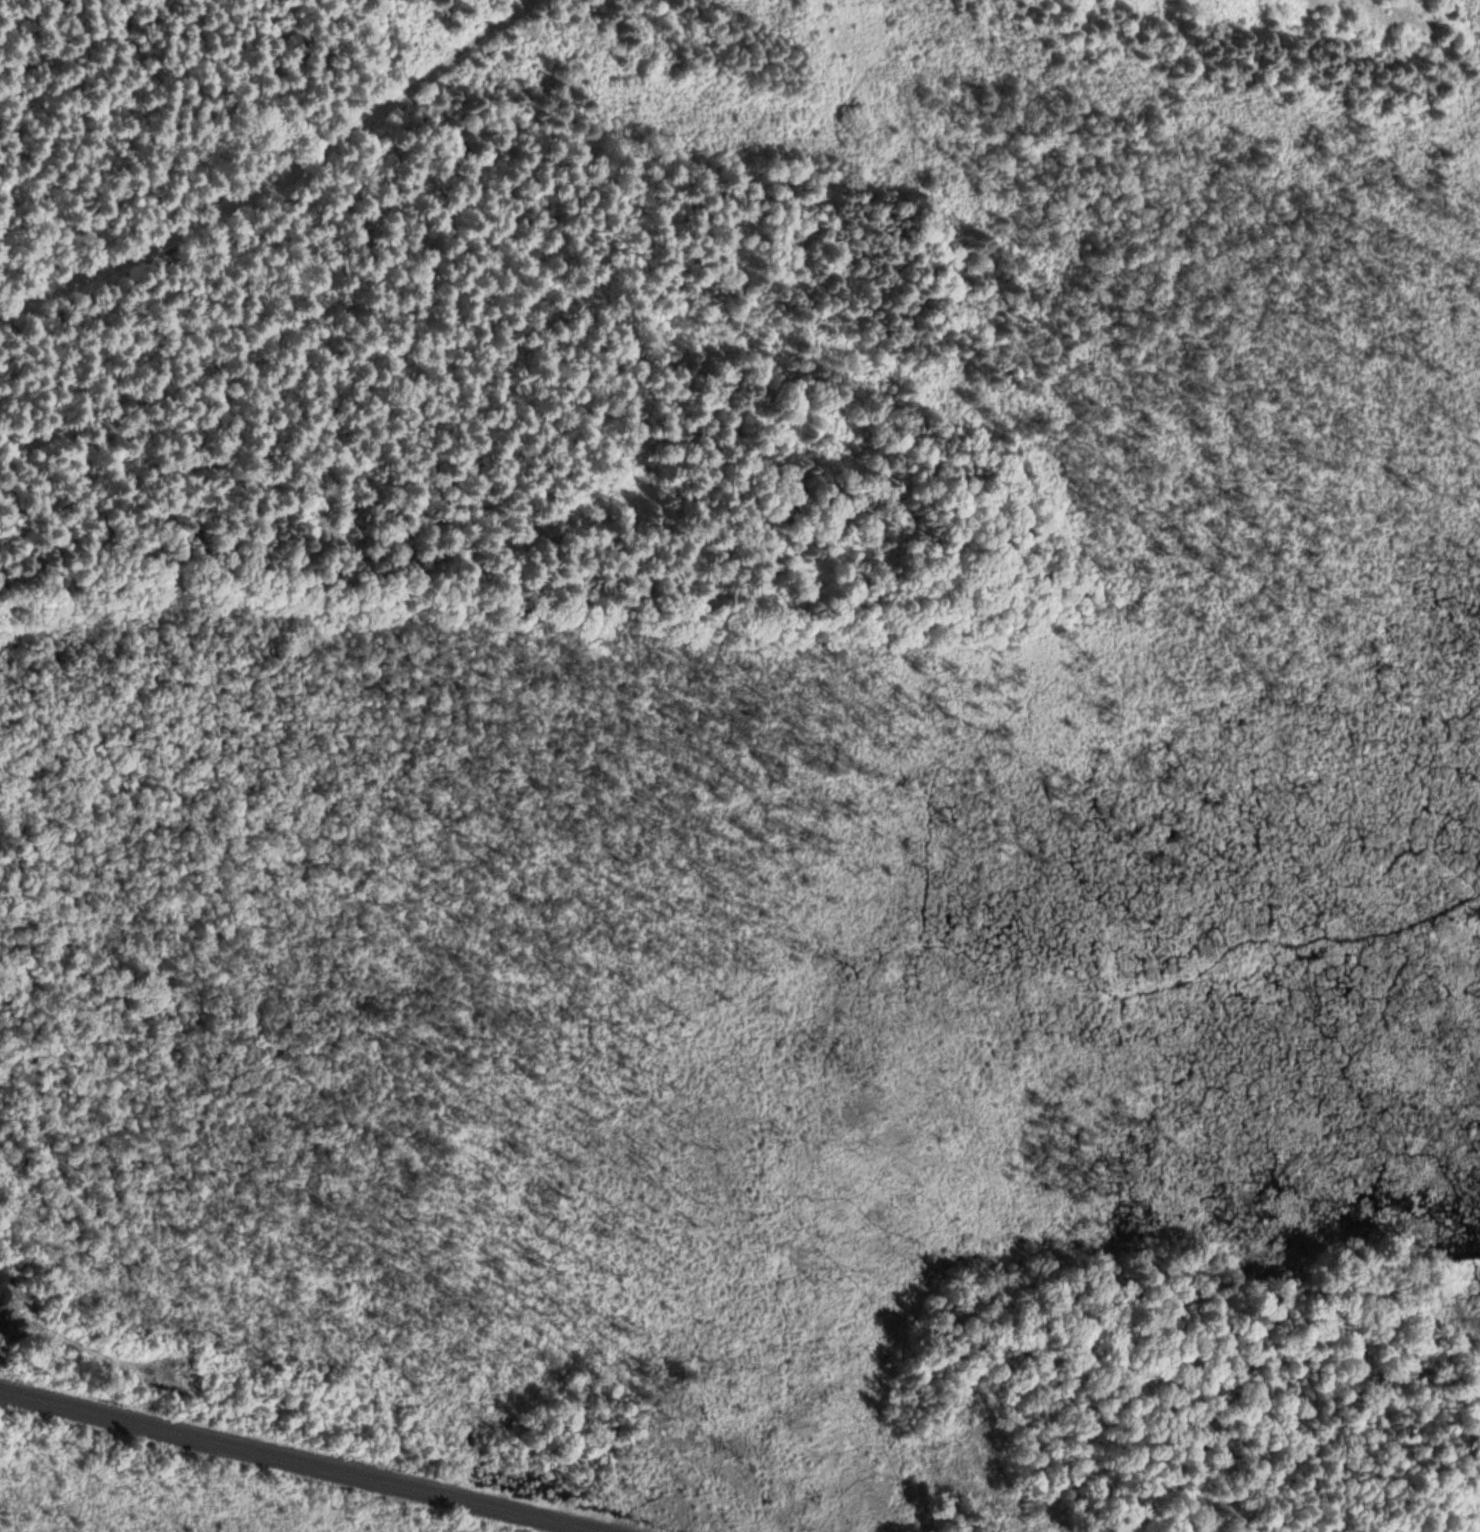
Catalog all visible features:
road: (270, 176)
road: (319, 1455)

